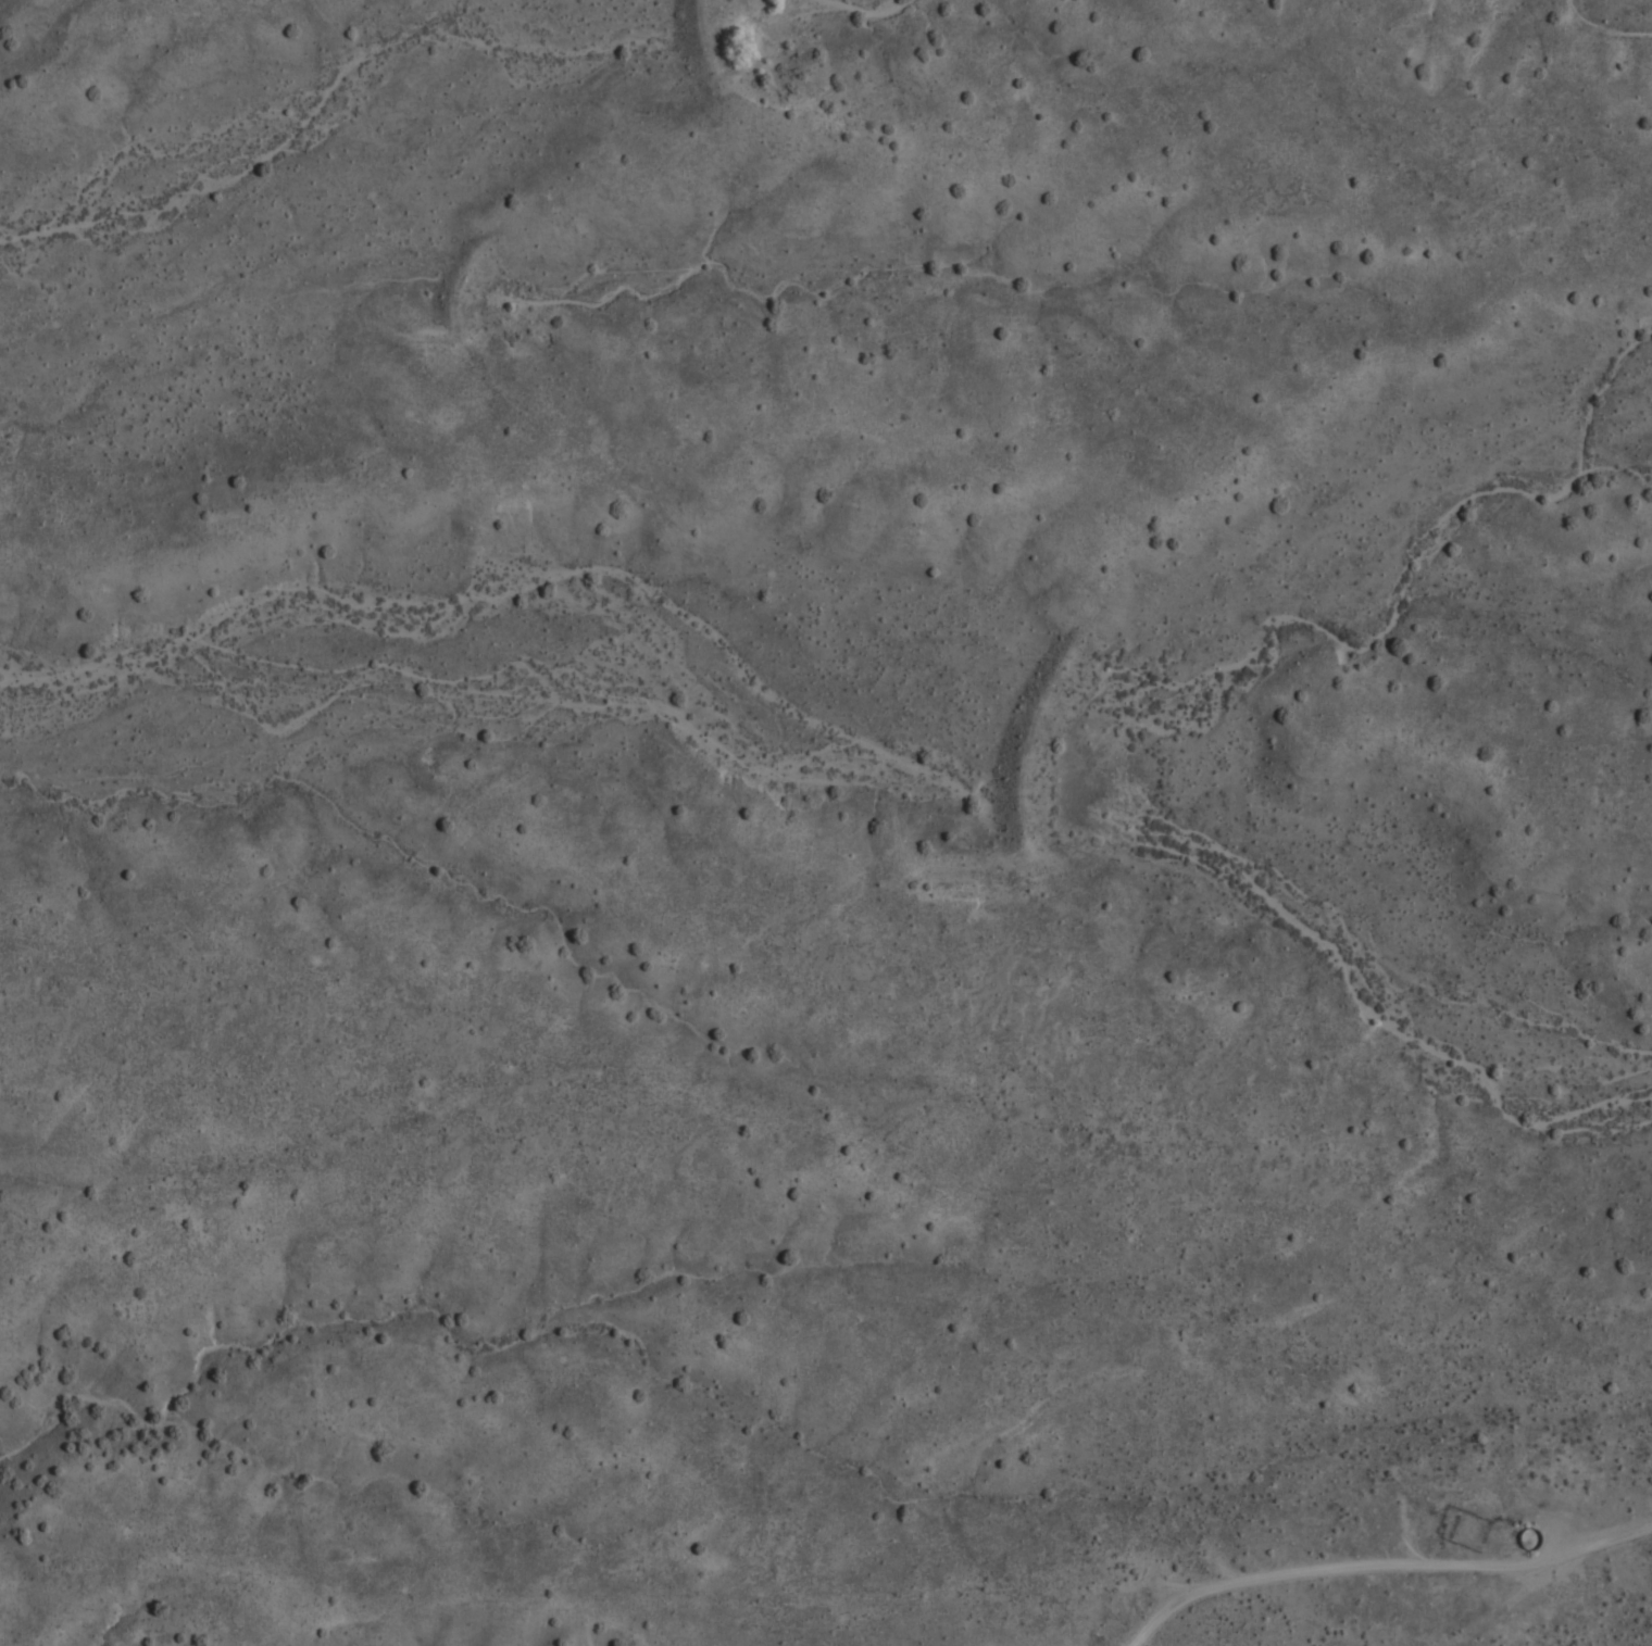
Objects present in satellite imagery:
road: (1385, 1571)

